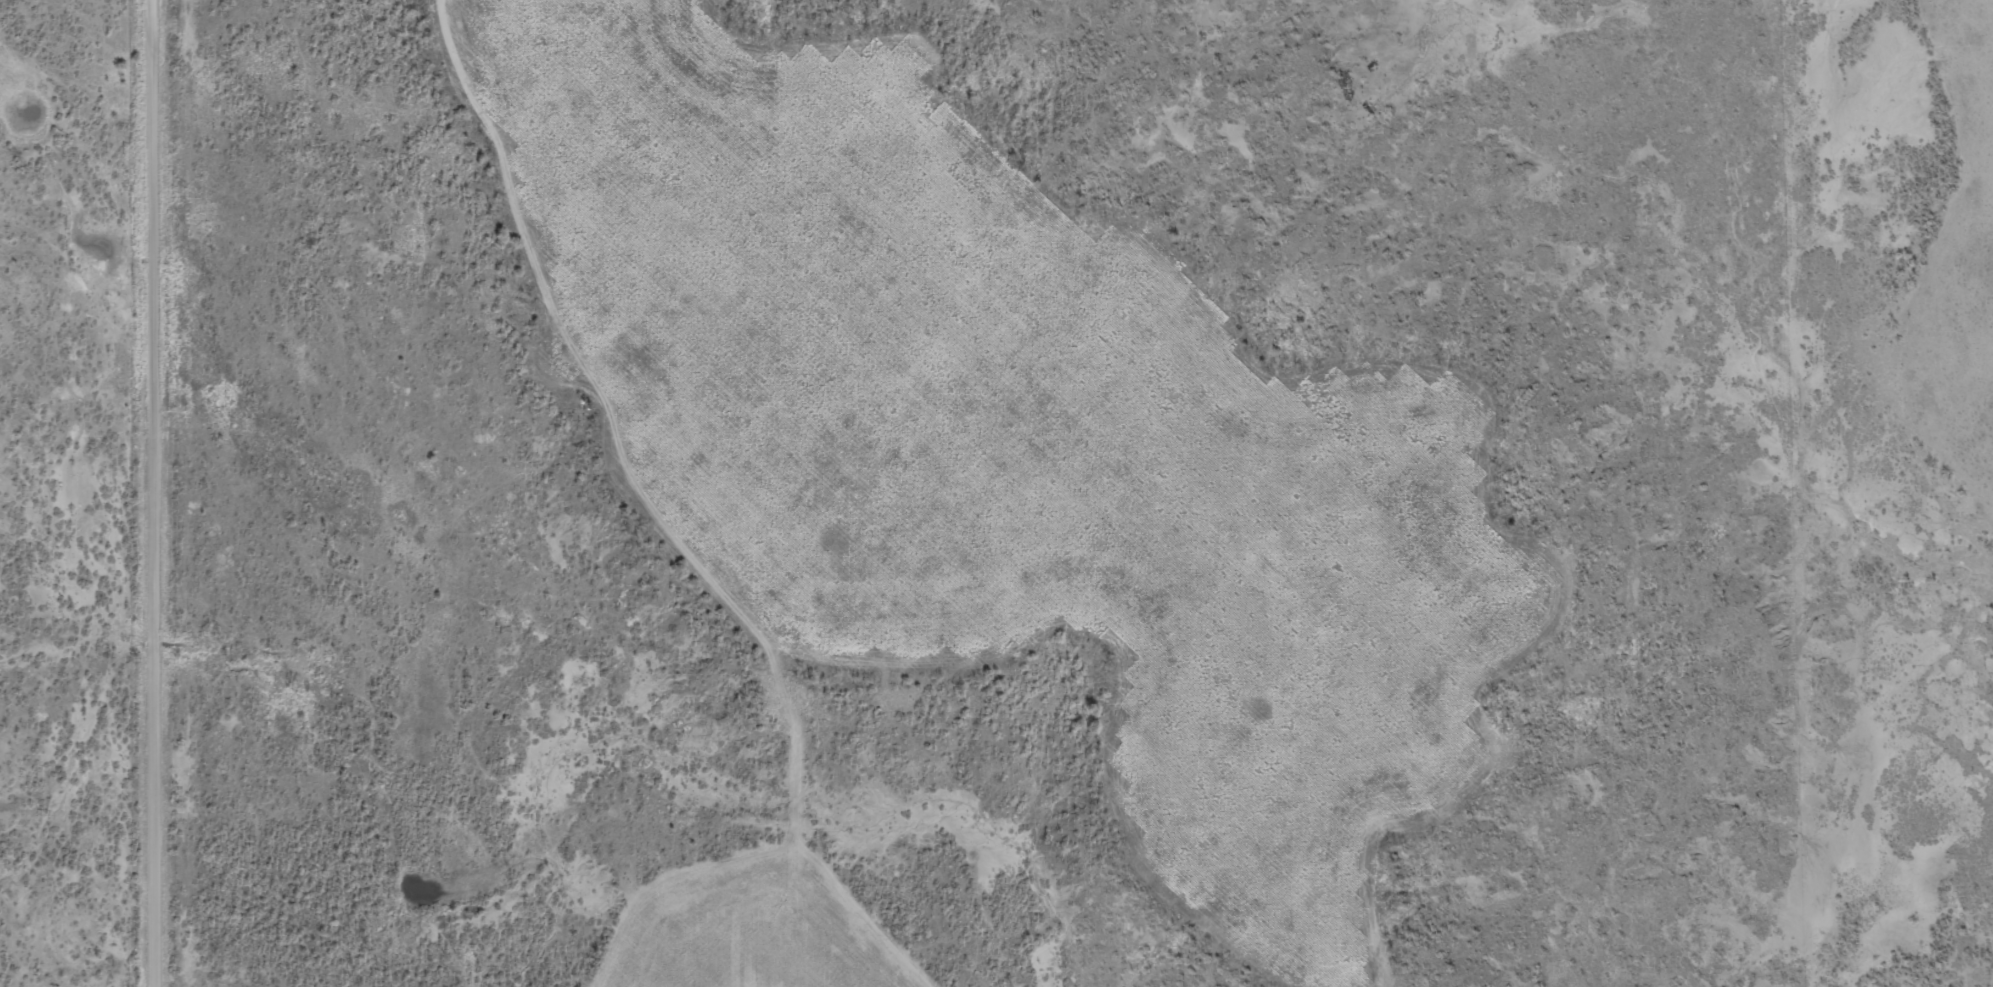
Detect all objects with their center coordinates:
road: (159, 493)

